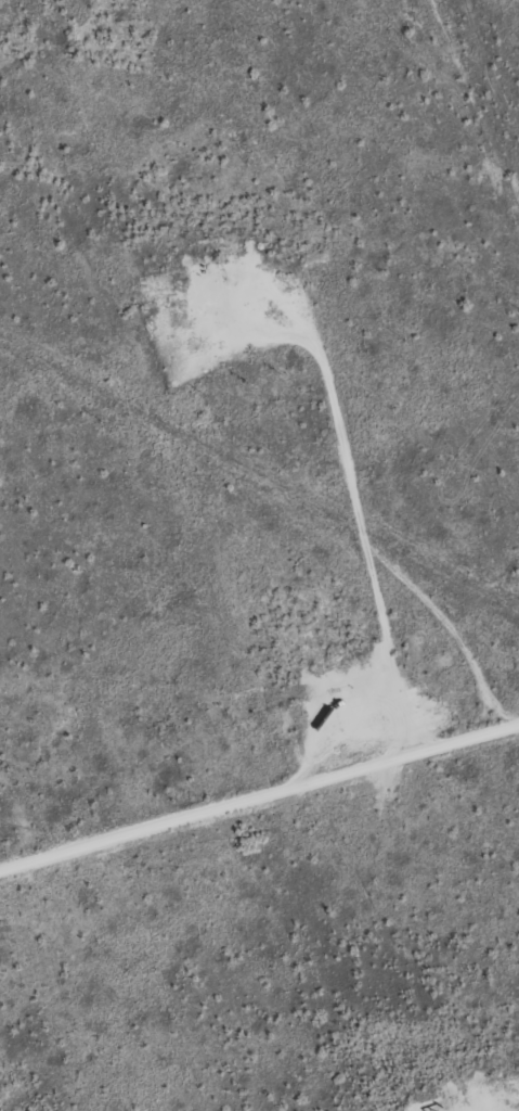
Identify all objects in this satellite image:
road: (259, 796)

